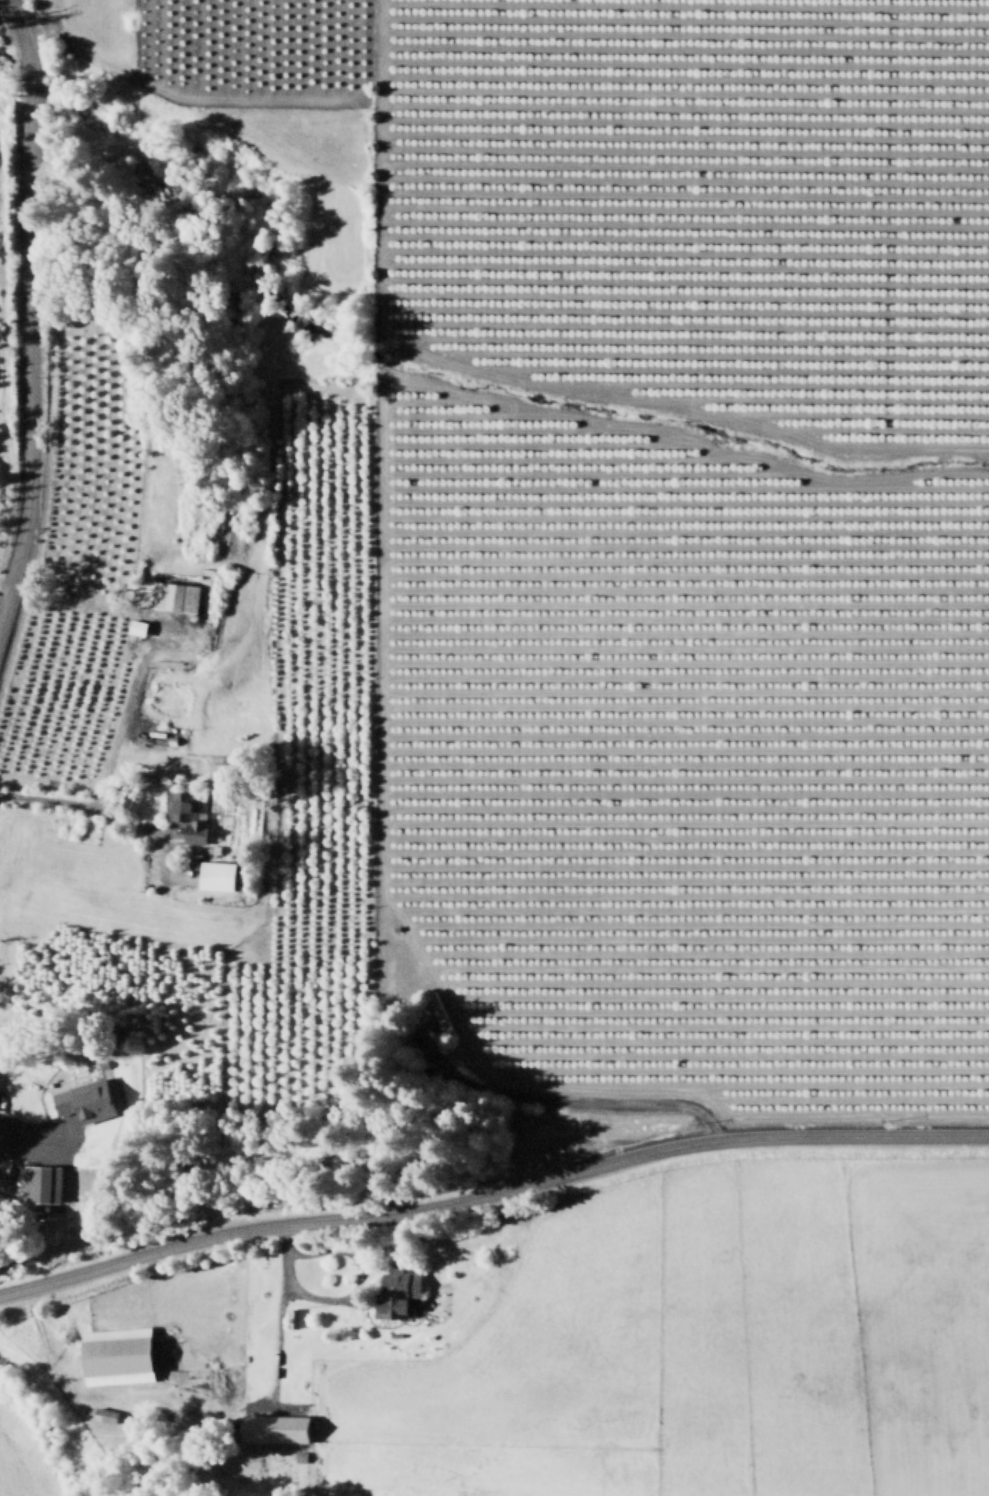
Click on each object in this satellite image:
road: (28, 309)
road: (5, 579)
building: (171, 594)
crop: (494, 748)
road: (82, 801)
building: (183, 812)
building: (213, 873)
building: (437, 1013)
building: (1, 1083)
building: (82, 1099)
road: (27, 1127)
building: (3, 1164)
building: (26, 1183)
building: (49, 1186)
road: (491, 1189)
building: (393, 1290)
road: (346, 1294)
building: (289, 1316)
building: (113, 1354)
building: (102, 1413)
building: (271, 1426)

